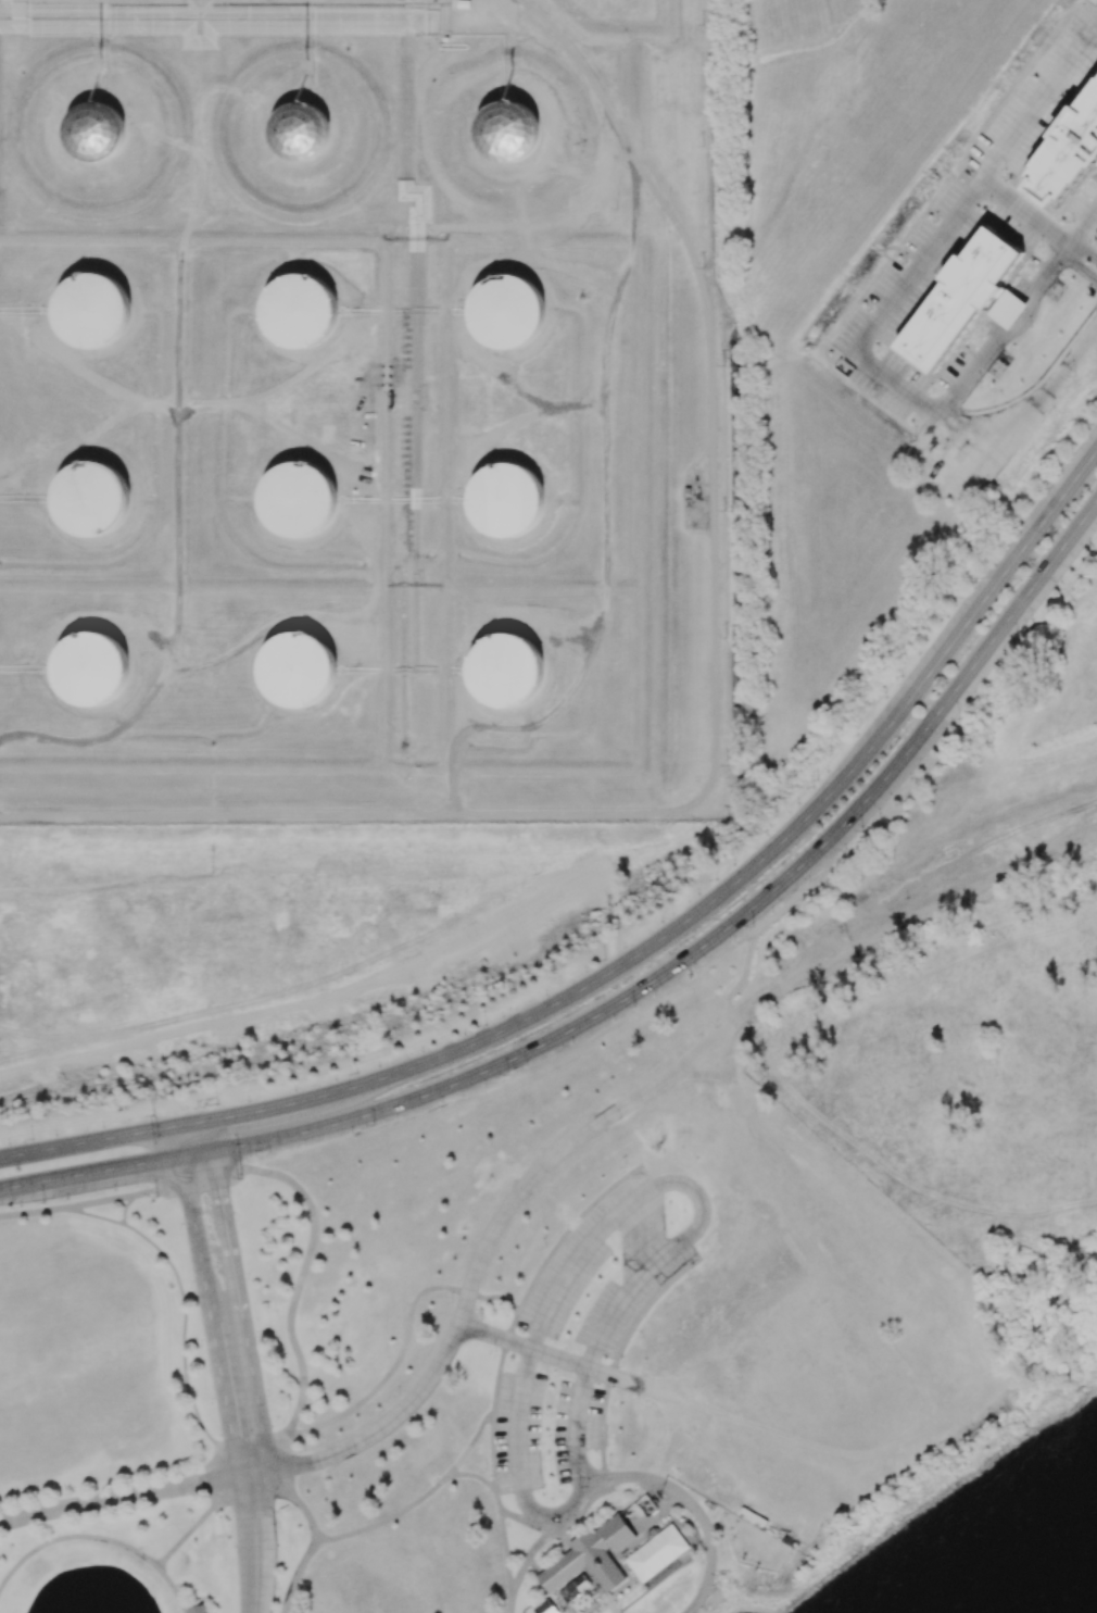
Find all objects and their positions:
building: (93, 132)
building: (509, 132)
building: (300, 134)
building: (1068, 152)
road: (1024, 213)
road: (1082, 227)
road: (931, 248)
road: (1082, 250)
road: (1080, 265)
road: (1044, 274)
building: (959, 301)
building: (92, 310)
storage tank: (92, 310)
building: (301, 312)
storage tank: (301, 312)
building: (507, 312)
storage tank: (507, 312)
road: (1012, 314)
road: (971, 370)
road: (1036, 402)
building: (92, 499)
storage tank: (92, 499)
building: (298, 500)
storage tank: (298, 500)
building: (506, 501)
storage tank: (506, 501)
road: (963, 623)
road: (975, 660)
building: (92, 670)
storage tank: (92, 670)
building: (299, 671)
storage tank: (299, 671)
building: (505, 673)
storage tank: (505, 673)
road: (731, 883)
road: (754, 903)
road: (752, 935)
road: (417, 1064)
road: (620, 1105)
traffic signals: (232, 1115)
road: (339, 1124)
road: (94, 1139)
traffic signals: (143, 1163)
road: (186, 1184)
traffic signals: (218, 1186)
road: (99, 1202)
road: (33, 1212)
parking lot: (653, 1262)
road: (237, 1295)
road: (209, 1298)
road: (290, 1304)
road: (610, 1311)
road: (405, 1326)
road: (545, 1353)
park: (532, 1359)
parking lot: (517, 1429)
parking lot: (576, 1430)
road: (429, 1489)
road: (124, 1495)
road: (293, 1497)
road: (691, 1503)
road: (658, 1511)
road: (499, 1515)
road: (527, 1522)
road: (560, 1531)
road: (98, 1537)
road: (255, 1542)
building: (657, 1552)
road: (528, 1554)
building: (592, 1556)
road: (294, 1574)
road: (508, 1602)
building: (198, 1609)

